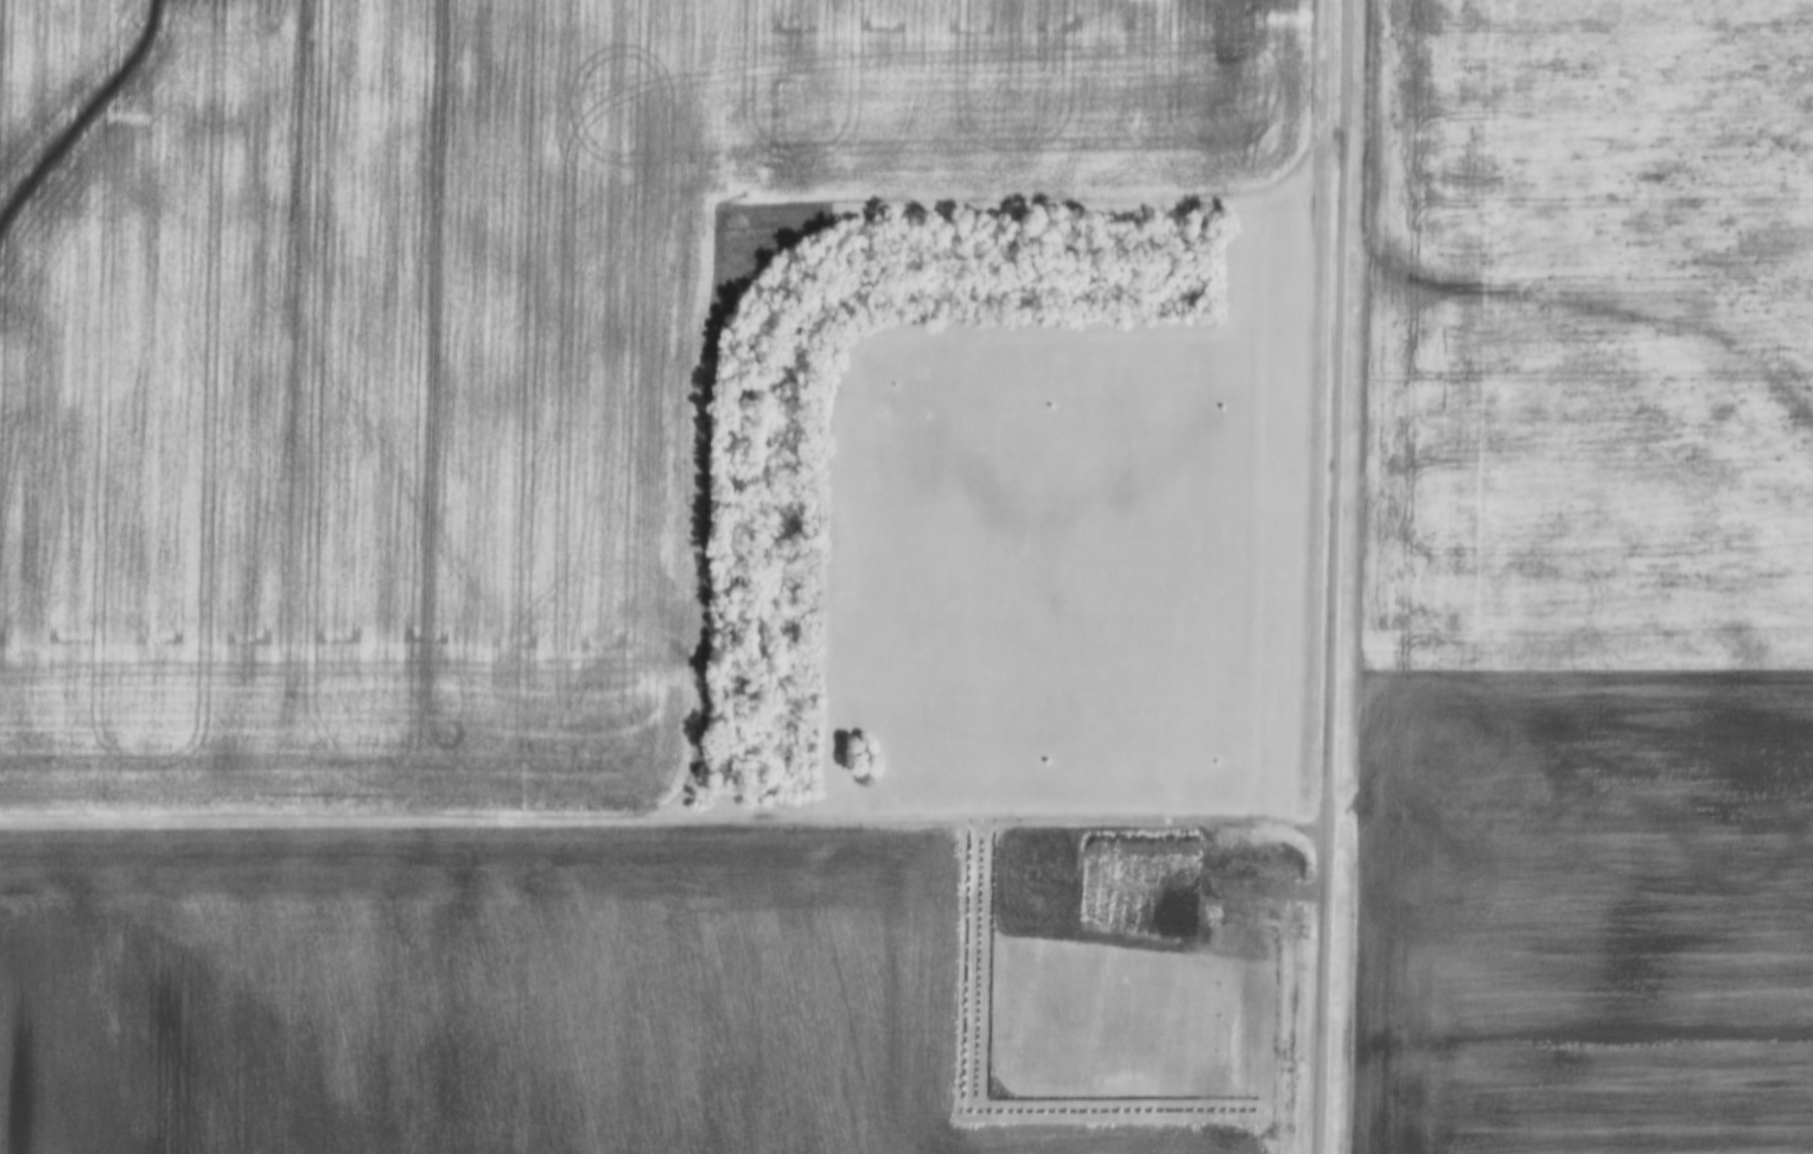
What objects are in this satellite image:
crop: (462, 349)
road: (1324, 576)
crop: (1584, 581)
building: (865, 757)
silo: (865, 757)
building: (863, 779)
silo: (863, 779)
crop: (637, 989)

